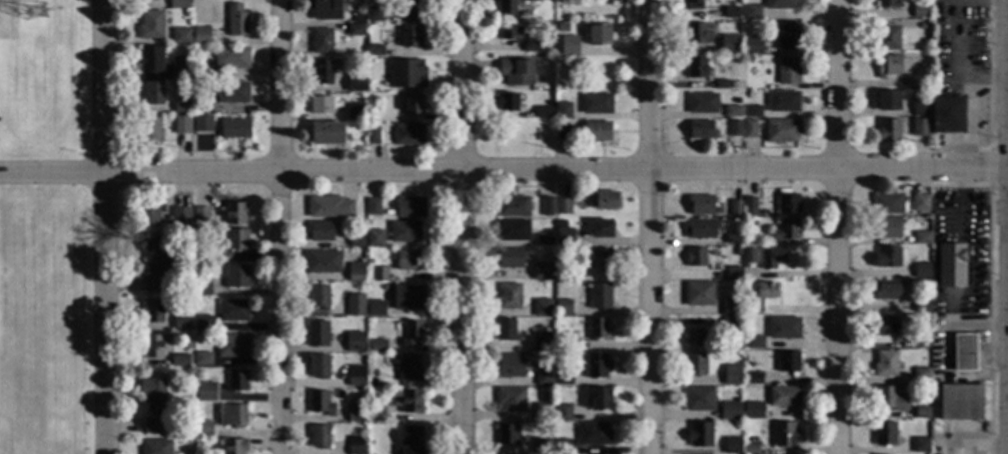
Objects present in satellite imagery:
building: (149, 0)
building: (529, 0)
building: (541, 0)
building: (887, 3)
building: (179, 4)
building: (781, 4)
building: (693, 5)
building: (506, 7)
building: (411, 9)
building: (326, 10)
building: (752, 12)
building: (920, 12)
building: (730, 13)
power tower: (37, 14)
building: (375, 14)
building: (358, 17)
building: (237, 20)
building: (153, 24)
building: (923, 26)
building: (356, 31)
building: (511, 31)
building: (696, 33)
building: (599, 35)
building: (201, 36)
building: (410, 36)
building: (787, 36)
building: (181, 37)
building: (887, 38)
building: (322, 42)
building: (730, 44)
building: (752, 45)
building: (568, 46)
building: (531, 48)
building: (375, 51)
building: (549, 52)
building: (231, 58)
building: (749, 60)
building: (151, 61)
building: (560, 63)
building: (889, 66)
building: (180, 67)
building: (696, 68)
building: (202, 69)
building: (516, 71)
building: (788, 71)
building: (323, 73)
building: (406, 74)
building: (908, 83)
building: (355, 85)
building: (723, 85)
building: (153, 93)
building: (233, 93)
building: (888, 100)
building: (508, 102)
building: (782, 102)
building: (702, 103)
building: (596, 104)
building: (181, 105)
building: (202, 105)
building: (321, 105)
building: (413, 106)
building: (920, 107)
building: (563, 110)
building: (356, 111)
building: (372, 111)
building: (732, 111)
building: (752, 111)
building: (543, 113)
building: (531, 115)
building: (949, 115)
building: (550, 123)
building: (203, 124)
building: (182, 125)
building: (361, 126)
building: (734, 128)
building: (920, 128)
building: (234, 129)
building: (749, 129)
building: (888, 129)
building: (150, 130)
building: (701, 130)
building: (781, 131)
building: (561, 132)
building: (596, 132)
building: (326, 133)
building: (409, 135)
building: (373, 136)
road: (504, 172)
building: (606, 201)
building: (787, 203)
building: (920, 203)
building: (888, 204)
building: (701, 205)
building: (563, 206)
building: (330, 207)
building: (373, 207)
building: (513, 207)
building: (547, 207)
building: (750, 207)
building: (411, 208)
building: (735, 208)
building: (149, 212)
building: (235, 213)
building: (201, 216)
building: (181, 217)
building: (750, 224)
road: (105, 226)
road: (839, 226)
road: (279, 227)
road: (461, 227)
road: (650, 227)
building: (886, 228)
building: (601, 229)
building: (701, 229)
building: (512, 230)
building: (786, 230)
building: (321, 231)
building: (404, 232)
building: (197, 235)
building: (564, 237)
building: (375, 238)
building: (732, 238)
building: (921, 238)
building: (545, 239)
building: (235, 240)
building: (356, 241)
building: (736, 252)
building: (749, 255)
building: (695, 257)
building: (771, 257)
building: (887, 257)
building: (509, 258)
building: (599, 259)
building: (407, 260)
building: (155, 261)
building: (323, 262)
building: (369, 262)
building: (951, 265)
building: (921, 270)
building: (565, 271)
building: (543, 272)
building: (355, 273)
building: (380, 274)
building: (733, 274)
building: (237, 277)
building: (746, 287)
building: (202, 288)
building: (766, 289)
building: (887, 290)
building: (699, 294)
building: (509, 296)
building: (600, 296)
building: (318, 297)
building: (408, 298)
building: (355, 306)
building: (921, 306)
building: (730, 307)
building: (375, 308)
building: (542, 308)
building: (563, 308)
building: (233, 310)
building: (154, 311)
building: (182, 322)
building: (203, 324)
building: (731, 325)
building: (886, 326)
building: (784, 328)
building: (597, 329)
building: (506, 331)
building: (411, 333)
building: (316, 334)
building: (695, 338)
building: (541, 341)
building: (354, 342)
building: (755, 343)
building: (921, 343)
building: (563, 344)
building: (154, 345)
building: (187, 345)
building: (232, 346)
building: (378, 346)
building: (965, 352)
building: (202, 360)
building: (180, 361)
building: (788, 362)
building: (695, 364)
building: (885, 364)
building: (510, 366)
building: (597, 366)
building: (318, 367)
building: (410, 368)
building: (373, 373)
building: (355, 376)
building: (544, 376)
building: (919, 376)
building: (564, 378)
building: (754, 379)
building: (733, 380)
building: (237, 381)
building: (747, 388)
building: (205, 391)
building: (784, 397)
building: (510, 399)
building: (600, 399)
building: (699, 399)
building: (890, 399)
building: (408, 401)
building: (960, 402)
building: (320, 403)
building: (155, 406)
building: (730, 411)
building: (754, 411)
building: (356, 412)
building: (375, 412)
building: (543, 412)
building: (563, 413)
building: (922, 413)
building: (233, 415)
building: (204, 428)
building: (884, 433)
building: (593, 434)
building: (785, 434)
building: (506, 435)
building: (699, 435)
building: (319, 437)
building: (411, 440)
building: (202, 444)
building: (356, 445)
building: (920, 445)
building: (156, 446)
building: (543, 446)
building: (732, 446)
building: (234, 447)
building: (563, 447)
building: (751, 449)

